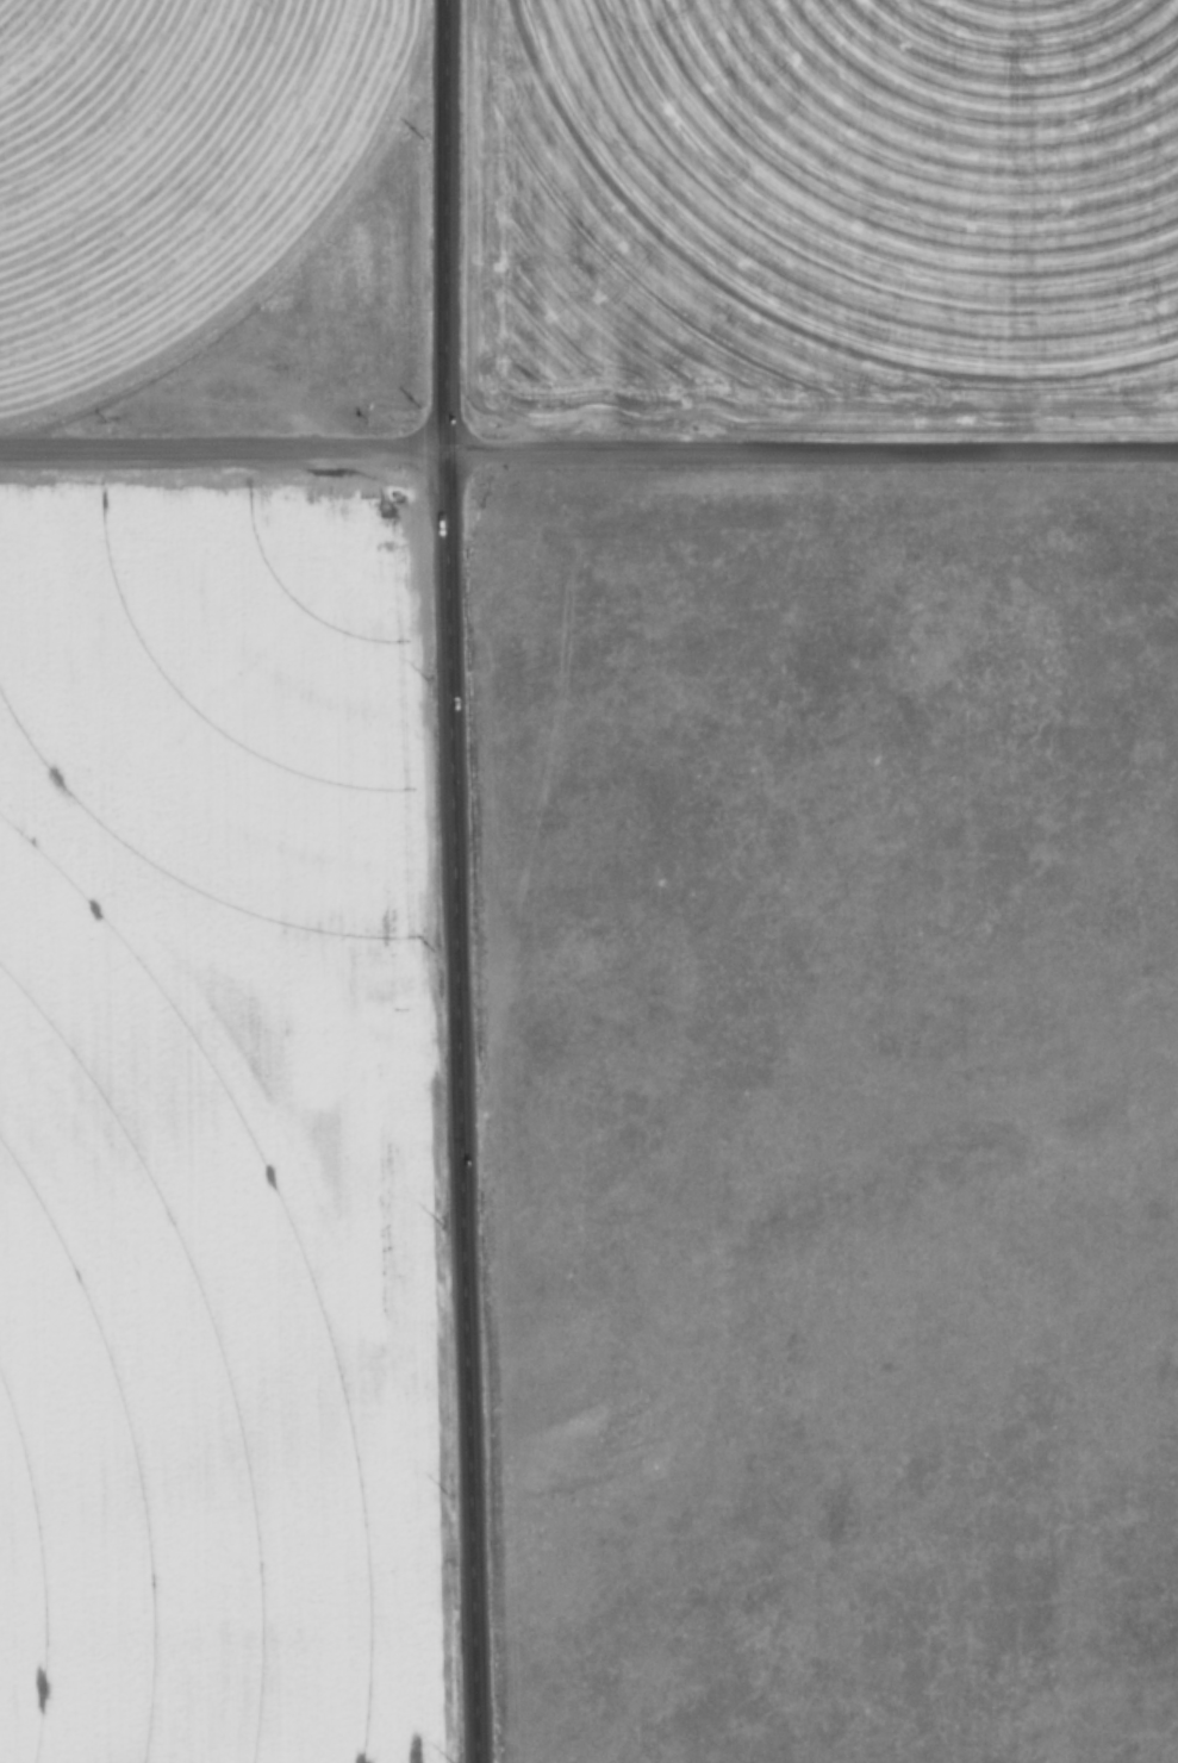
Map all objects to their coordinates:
road: (588, 449)
road: (453, 882)

